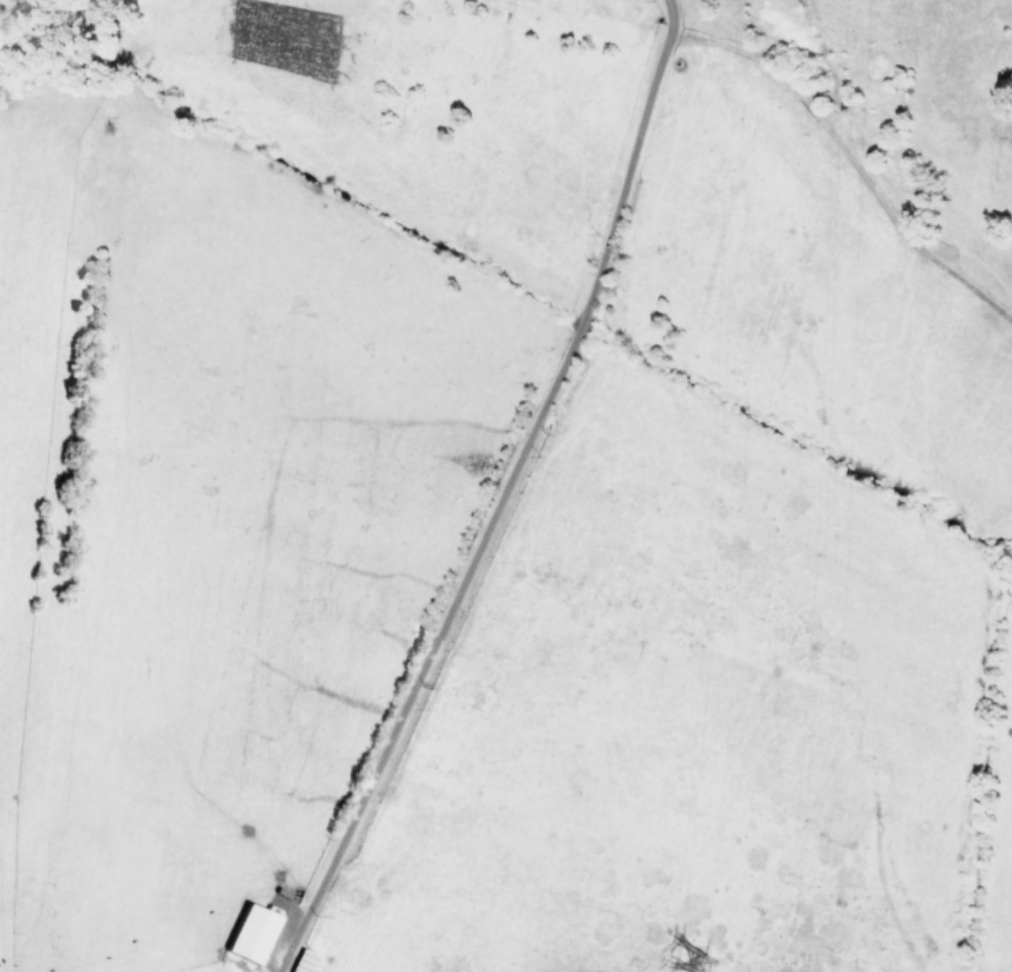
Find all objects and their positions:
crop: (509, 489)
road: (501, 496)
building: (255, 932)
power tower: (716, 957)

